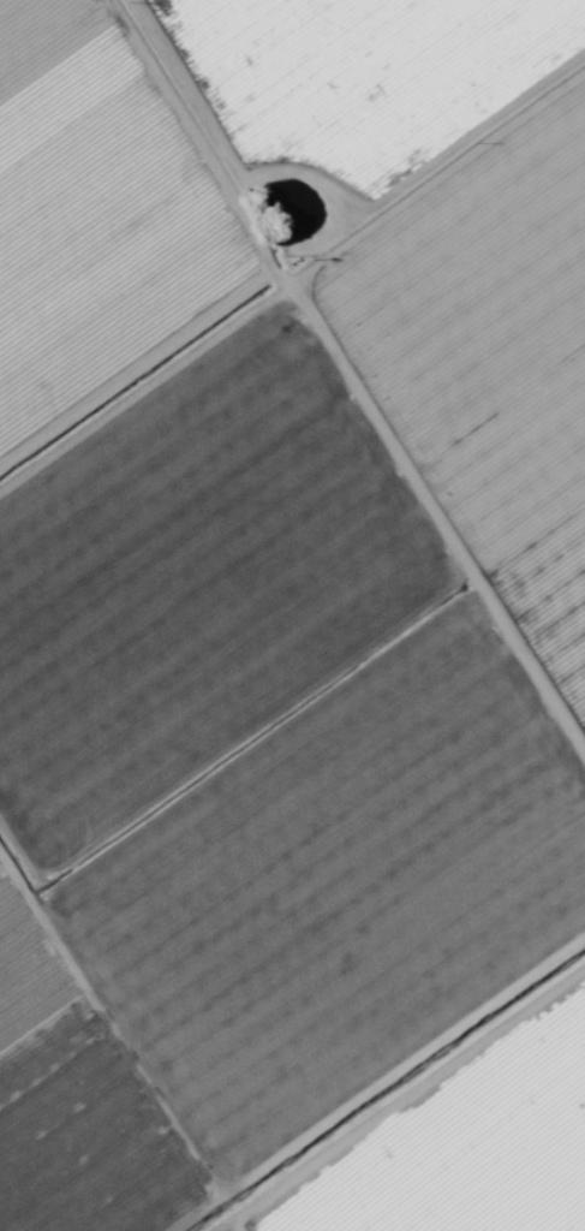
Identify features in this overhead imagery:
road: (345, 398)
crop: (292, 615)

